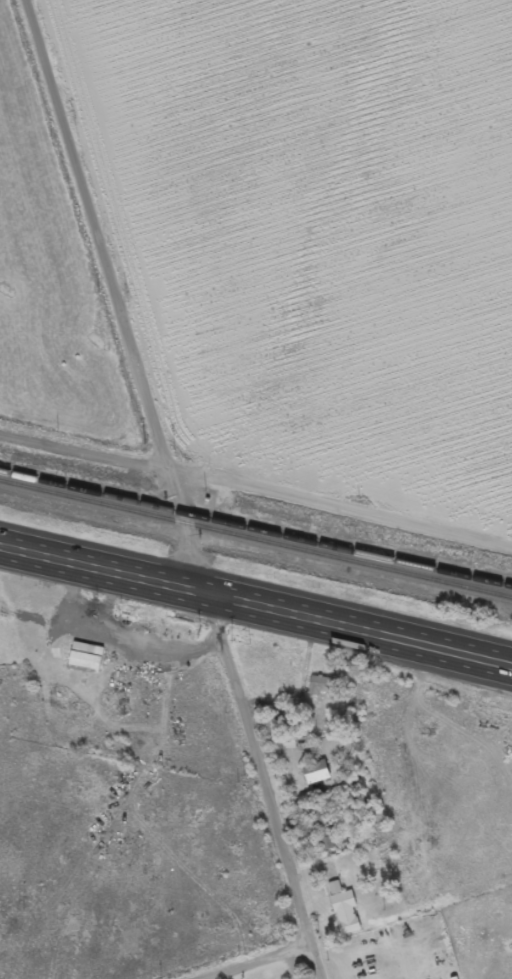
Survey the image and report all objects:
road: (118, 292)
road: (256, 482)
railway: (255, 531)
railway: (256, 541)
road: (256, 605)
building: (87, 658)
building: (323, 688)
building: (273, 727)
building: (317, 774)
road: (266, 787)
building: (324, 832)
building: (345, 911)
road: (253, 960)

